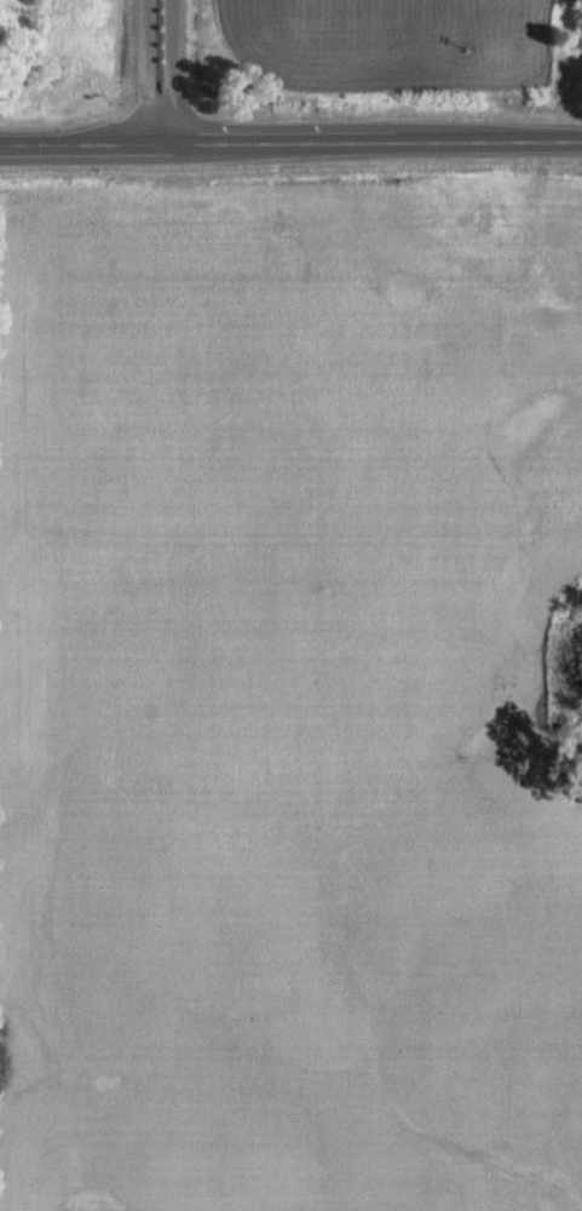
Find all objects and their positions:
road: (162, 71)
road: (290, 142)

